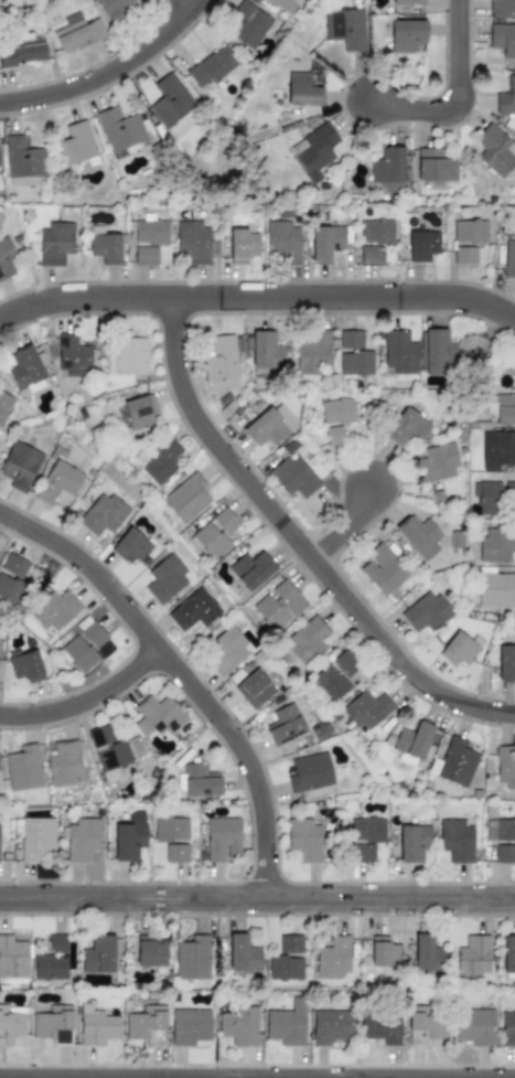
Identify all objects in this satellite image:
building: (408, 2)
road: (180, 4)
building: (285, 6)
building: (501, 8)
building: (114, 9)
building: (249, 24)
building: (345, 29)
building: (77, 33)
building: (406, 34)
building: (503, 40)
building: (22, 54)
road: (457, 57)
building: (212, 66)
road: (106, 68)
building: (302, 90)
building: (506, 98)
building: (170, 100)
road: (409, 114)
building: (119, 129)
building: (75, 145)
building: (494, 150)
building: (313, 152)
building: (24, 161)
building: (434, 166)
building: (388, 170)
building: (376, 233)
building: (470, 233)
building: (149, 241)
building: (282, 242)
building: (194, 243)
building: (325, 243)
building: (55, 244)
building: (104, 246)
building: (242, 246)
building: (422, 246)
building: (371, 256)
building: (464, 256)
building: (509, 257)
building: (6, 259)
road: (257, 299)
building: (351, 340)
building: (399, 352)
building: (437, 352)
building: (266, 354)
building: (312, 354)
building: (130, 356)
building: (73, 357)
building: (356, 363)
building: (221, 364)
building: (26, 372)
building: (4, 407)
building: (505, 409)
building: (337, 412)
building: (140, 413)
building: (269, 426)
building: (407, 428)
building: (334, 436)
building: (497, 450)
building: (161, 462)
building: (437, 465)
building: (20, 466)
building: (293, 478)
building: (58, 483)
building: (491, 497)
building: (186, 499)
building: (103, 515)
road: (350, 525)
building: (215, 534)
building: (419, 537)
road: (301, 542)
building: (495, 546)
building: (131, 547)
building: (14, 567)
building: (385, 569)
building: (251, 570)
building: (165, 580)
building: (11, 589)
building: (496, 590)
building: (279, 606)
building: (194, 610)
building: (55, 612)
building: (427, 612)
building: (309, 640)
building: (84, 645)
building: (461, 649)
building: (226, 652)
building: (506, 664)
building: (25, 666)
road: (184, 673)
building: (336, 675)
building: (255, 690)
road: (87, 696)
building: (366, 711)
building: (158, 717)
building: (285, 725)
building: (412, 744)
building: (108, 749)
building: (457, 762)
building: (64, 765)
building: (506, 767)
building: (24, 769)
building: (310, 773)
building: (200, 781)
building: (171, 830)
building: (35, 839)
building: (222, 839)
building: (365, 839)
building: (82, 840)
building: (502, 840)
building: (457, 841)
building: (129, 842)
building: (307, 842)
building: (414, 843)
building: (176, 854)
road: (257, 898)
building: (57, 944)
building: (290, 944)
building: (151, 951)
building: (384, 952)
building: (242, 954)
building: (428, 954)
building: (98, 956)
building: (473, 957)
building: (193, 959)
building: (332, 959)
building: (13, 960)
building: (50, 967)
building: (285, 970)
building: (11, 1024)
building: (287, 1024)
building: (54, 1025)
building: (147, 1025)
building: (97, 1027)
building: (190, 1027)
building: (239, 1027)
building: (331, 1027)
building: (475, 1027)
building: (380, 1028)
building: (507, 1029)
road: (160, 1077)

